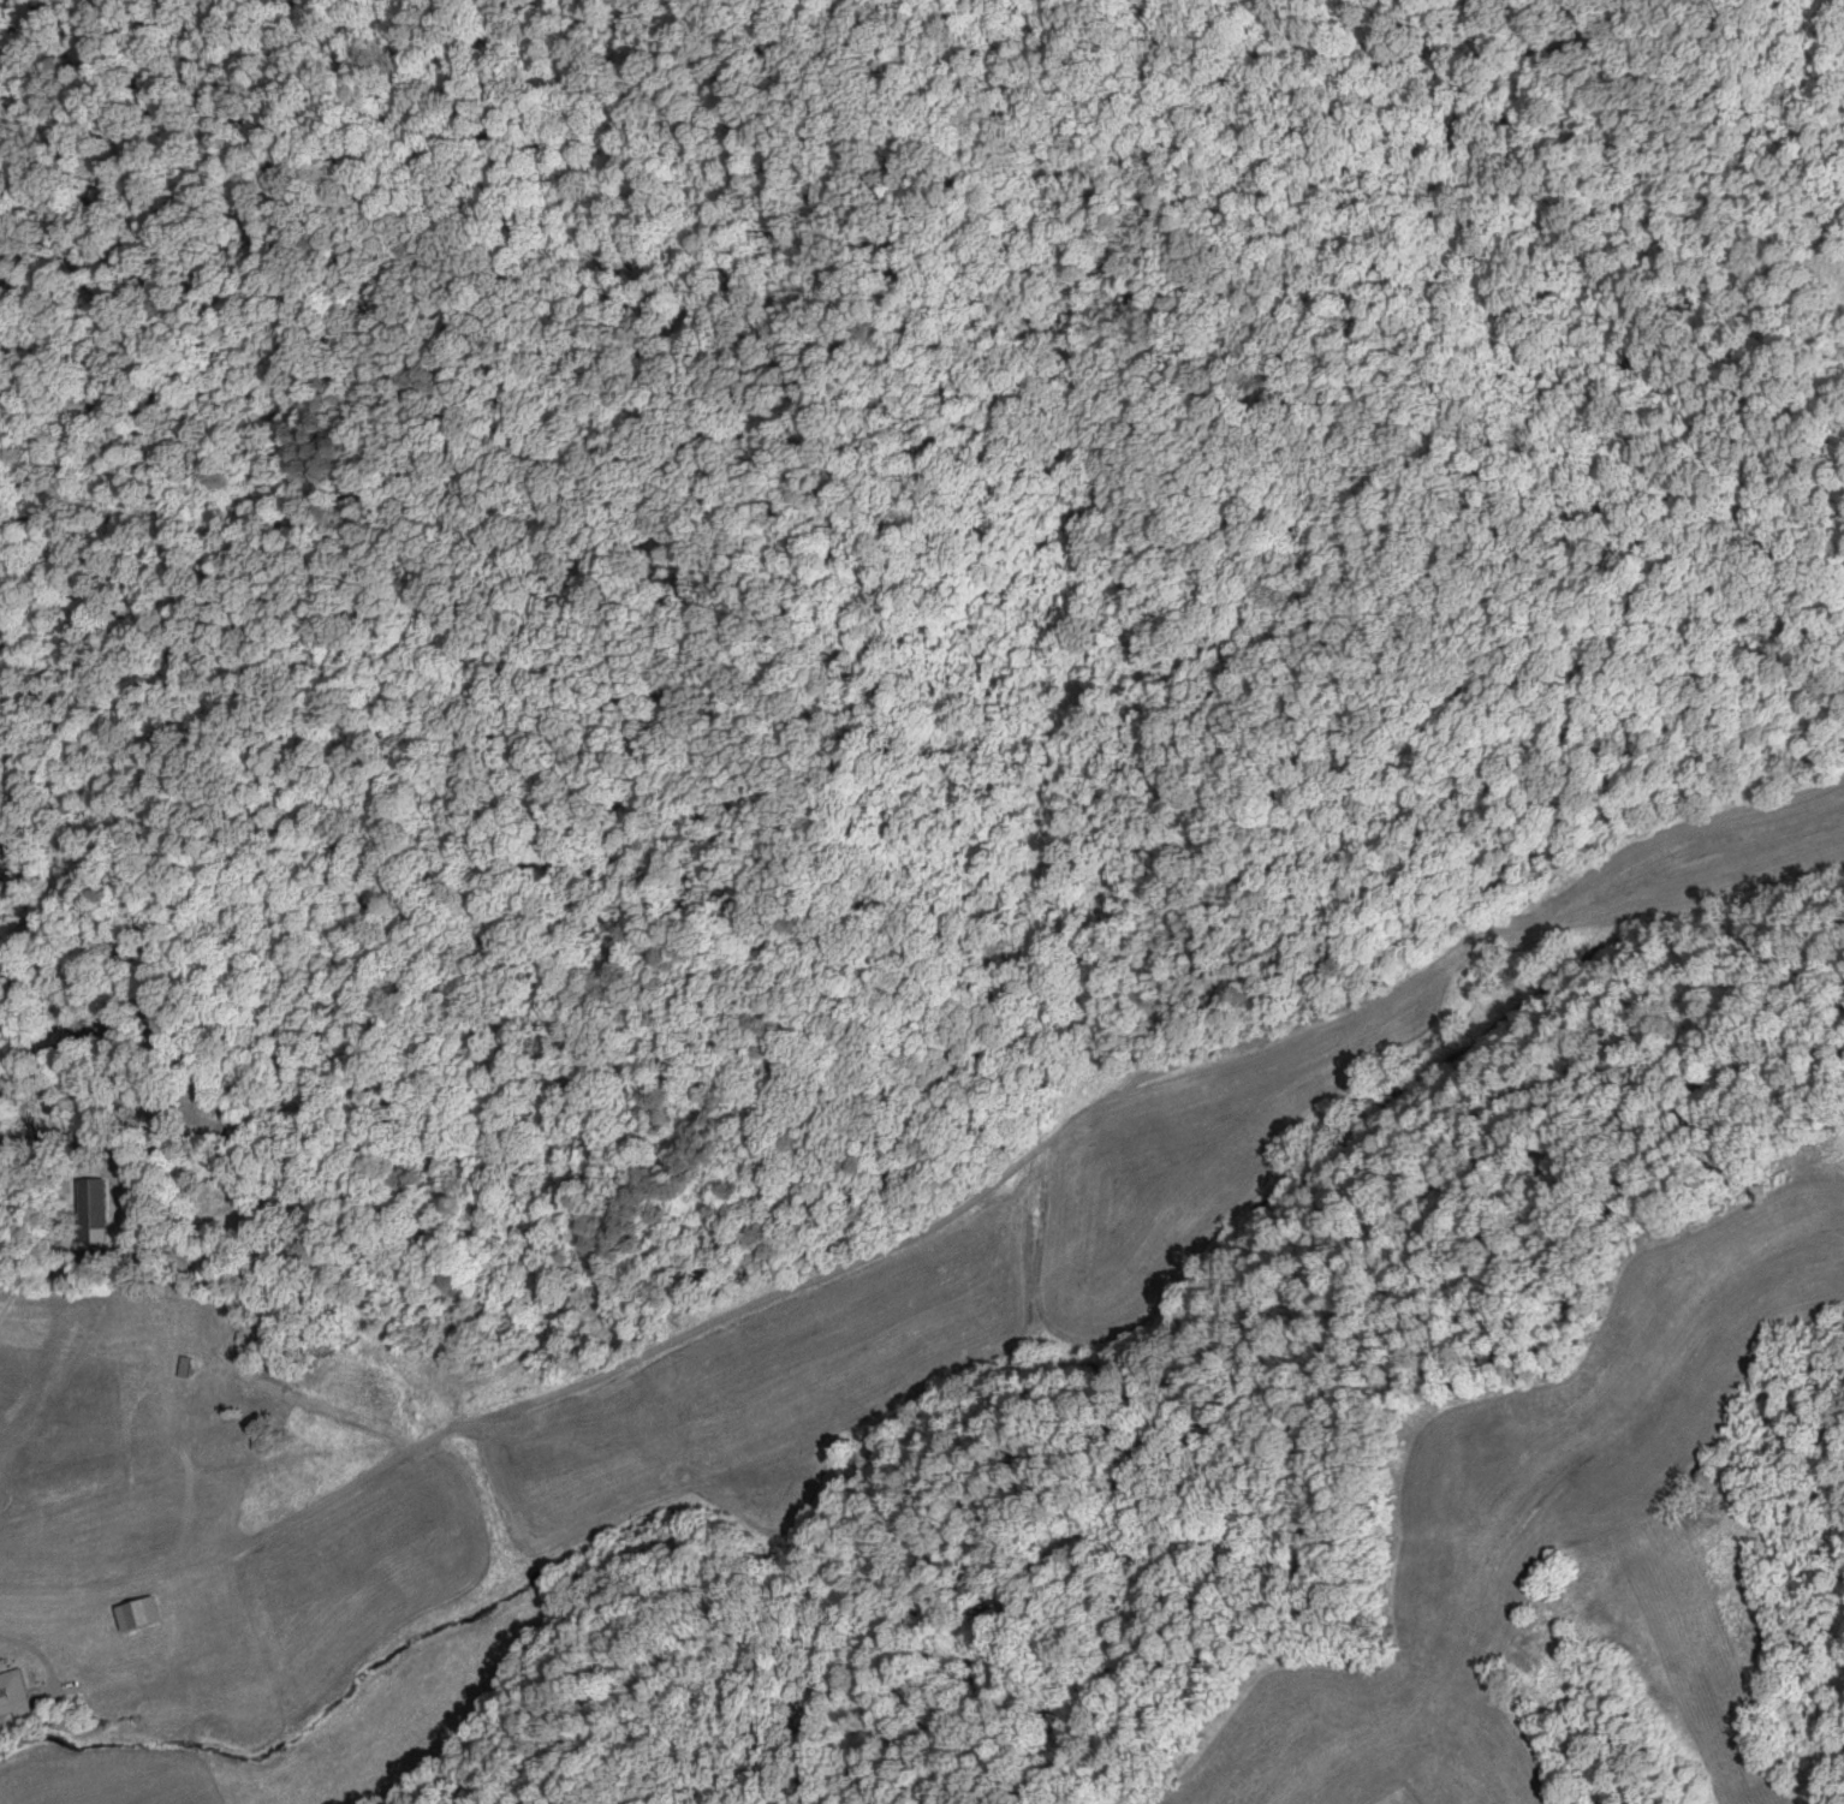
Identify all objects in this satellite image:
building: (133, 1613)

